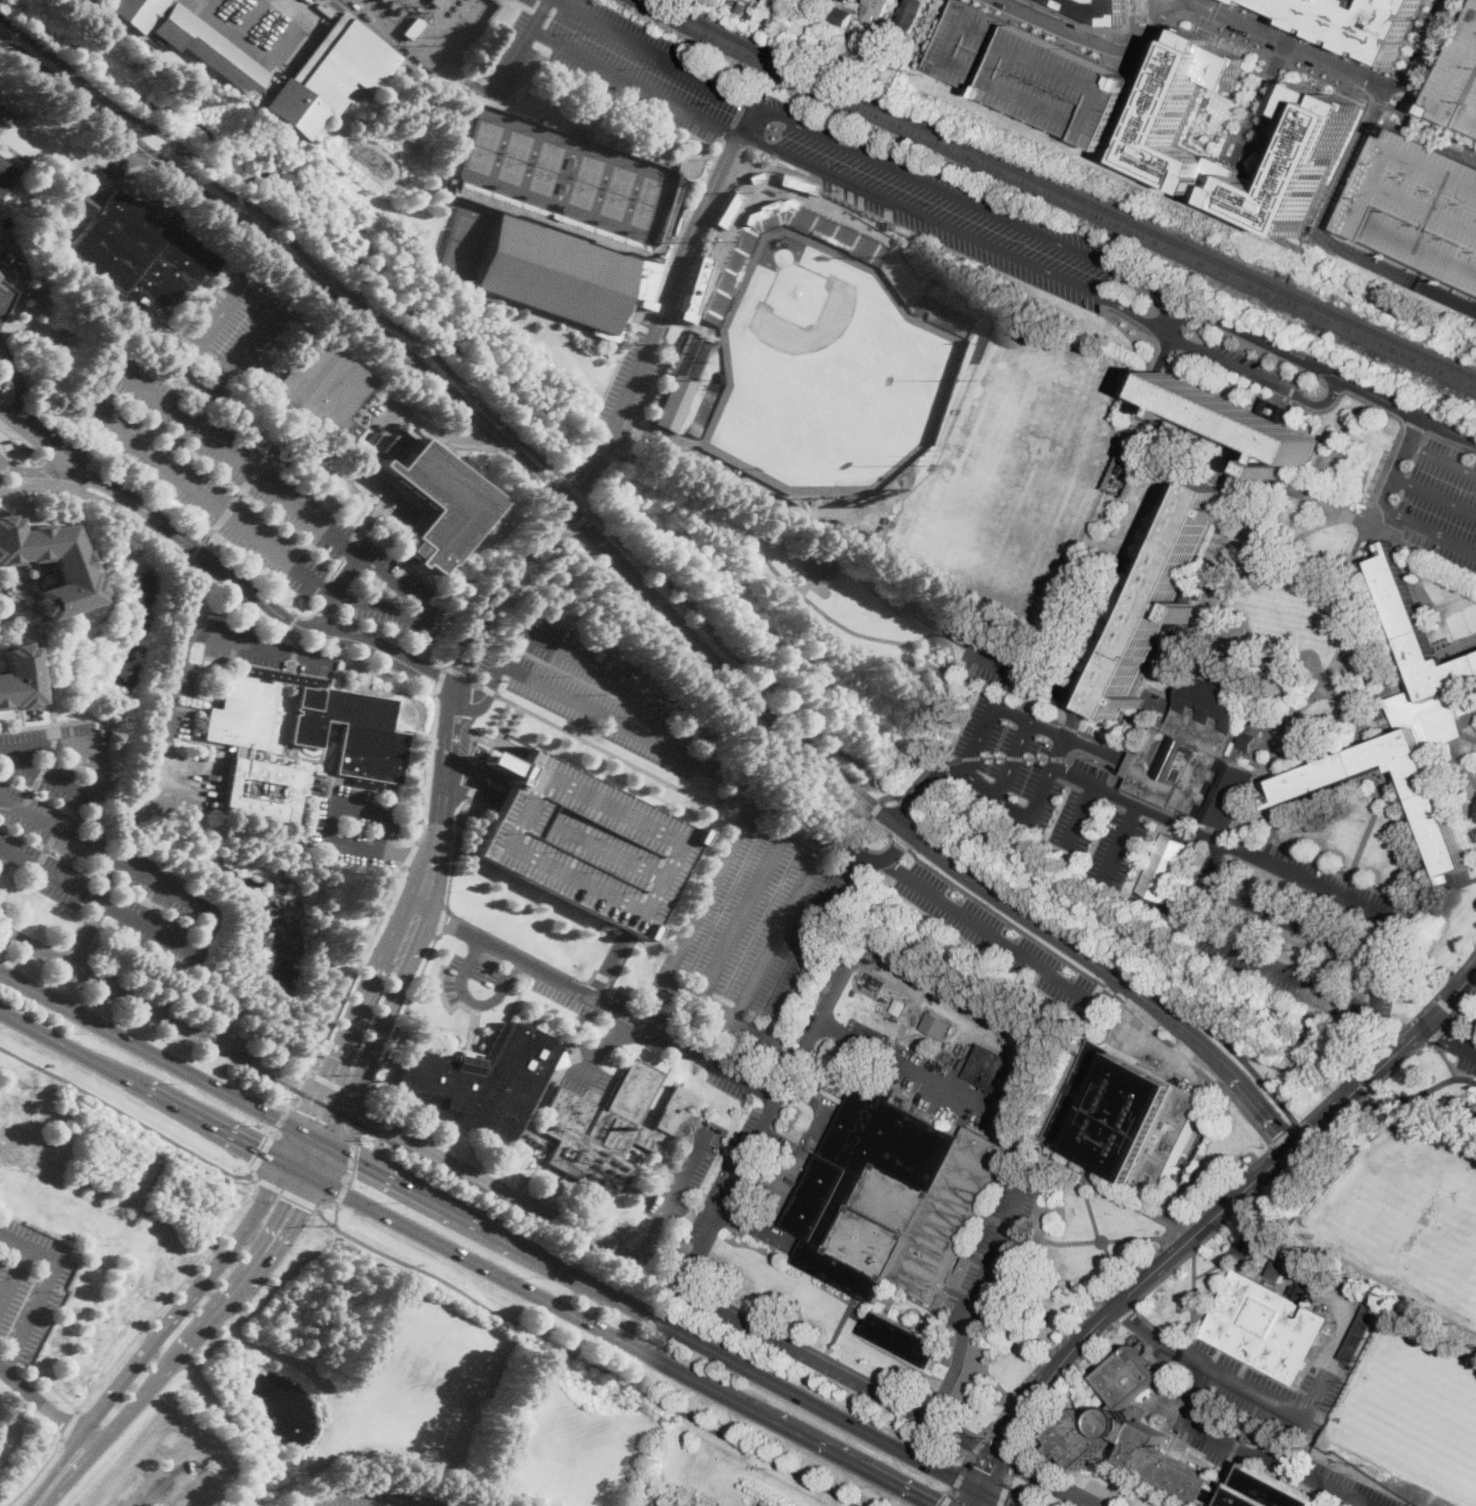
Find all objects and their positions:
building: (850, 0)
building: (824, 1)
building: (1253, 1)
building: (436, 2)
road: (83, 3)
building: (788, 4)
road: (1167, 7)
building: (742, 8)
building: (874, 9)
building: (1099, 9)
parking lot: (1099, 9)
building: (783, 14)
building: (843, 14)
building: (910, 14)
building: (1360, 22)
road: (1152, 23)
road: (1160, 24)
power substation: (426, 26)
parking lot: (265, 27)
road: (289, 31)
road: (399, 31)
road: (1074, 31)
road: (234, 32)
building: (876, 35)
building: (825, 39)
building: (191, 40)
building: (885, 43)
road: (1291, 43)
road: (1352, 52)
road: (658, 53)
building: (865, 55)
road: (513, 58)
road: (454, 69)
building: (1034, 73)
parking lot: (1034, 73)
building: (331, 75)
building: (1459, 83)
parking garage: (1459, 83)
road: (633, 84)
road: (1424, 88)
road: (1145, 98)
road: (1263, 98)
road: (1379, 102)
road: (3, 116)
parking lot: (5, 117)
road: (1433, 124)
building: (1165, 134)
road: (1433, 137)
parking lot: (799, 143)
park: (487, 147)
park: (518, 157)
park: (549, 168)
building: (5, 174)
building: (475, 175)
building: (756, 178)
park: (589, 182)
building: (798, 184)
park: (620, 192)
railway: (1068, 192)
railway: (1055, 196)
park: (650, 203)
building: (1421, 206)
parking garage: (1421, 206)
road: (1342, 209)
building: (727, 210)
building: (767, 210)
building: (553, 220)
road: (1054, 237)
road: (289, 239)
building: (832, 240)
park: (465, 241)
building: (135, 251)
building: (8, 263)
road: (287, 263)
road: (1395, 272)
building: (739, 274)
road: (1047, 274)
building: (567, 276)
building: (6, 289)
road: (325, 289)
building: (692, 290)
road: (4, 298)
parking lot: (5, 300)
road: (663, 304)
road: (218, 315)
road: (1172, 319)
parking lot: (231, 324)
road: (261, 324)
parking lot: (1253, 336)
parking lot: (1250, 368)
park: (825, 372)
road: (1151, 377)
building: (721, 378)
road: (18, 380)
building: (581, 380)
building: (318, 388)
road: (9, 389)
parking lot: (629, 389)
parking lot: (1, 391)
road: (1357, 397)
road: (1387, 401)
building: (672, 403)
building: (1267, 409)
road: (188, 418)
road: (428, 419)
building: (1234, 420)
road: (1414, 425)
road: (1455, 433)
parking lot: (15, 434)
road: (443, 441)
road: (1450, 441)
building: (77, 449)
road: (232, 459)
building: (90, 460)
building: (1243, 460)
building: (625, 461)
road: (1441, 461)
park: (1014, 467)
road: (32, 469)
road: (70, 469)
building: (1122, 476)
road: (548, 478)
road: (60, 484)
road: (2, 488)
road: (578, 489)
road: (1260, 491)
road: (547, 496)
road: (1435, 496)
road: (202, 498)
parking lot: (247, 499)
road: (232, 502)
parking lot: (1441, 504)
road: (107, 505)
building: (440, 505)
road: (1387, 509)
road: (1299, 512)
road: (559, 516)
road: (584, 520)
road: (1358, 522)
building: (839, 528)
building: (862, 529)
road: (1411, 535)
road: (1423, 541)
road: (1279, 548)
road: (1419, 550)
road: (218, 567)
building: (820, 567)
building: (68, 569)
road: (28, 579)
road: (96, 582)
road: (494, 587)
building: (1139, 590)
building: (1190, 590)
road: (331, 591)
road: (111, 601)
building: (1160, 601)
road: (1351, 602)
road: (8, 604)
road: (246, 605)
road: (324, 613)
park: (797, 614)
road: (414, 615)
road: (306, 616)
road: (292, 621)
park: (1462, 623)
building: (1174, 628)
road: (1214, 634)
road: (388, 636)
road: (47, 644)
road: (1459, 644)
road: (260, 646)
road: (1241, 654)
road: (585, 659)
road: (737, 660)
building: (906, 666)
road: (1009, 669)
parking lot: (1012, 670)
road: (457, 671)
road: (178, 675)
building: (17, 678)
road: (1412, 678)
road: (440, 679)
road: (475, 682)
building: (927, 682)
parking lot: (182, 684)
road: (1251, 686)
road: (1408, 688)
road: (488, 689)
parking lot: (597, 691)
road: (1072, 709)
road: (1251, 712)
road: (1472, 716)
road: (1461, 719)
road: (1274, 721)
road: (57, 722)
road: (53, 723)
road: (1037, 724)
road: (1268, 725)
building: (1405, 726)
road: (1260, 727)
road: (1388, 728)
road: (1284, 731)
building: (352, 733)
road: (1252, 733)
road: (482, 737)
road: (1470, 737)
road: (495, 741)
road: (783, 741)
building: (1250, 741)
road: (1250, 741)
road: (1270, 741)
road: (1455, 742)
road: (1333, 747)
building: (242, 749)
road: (1092, 749)
road: (1267, 749)
road: (1258, 754)
building: (1197, 756)
road: (1014, 758)
road: (1069, 758)
road: (1255, 761)
road: (710, 766)
road: (1463, 766)
road: (426, 769)
road: (49, 775)
road: (837, 776)
road: (92, 777)
road: (473, 787)
road: (924, 788)
road: (471, 790)
road: (694, 794)
road: (996, 795)
road: (442, 799)
road: (909, 807)
road: (363, 809)
road: (876, 809)
building: (854, 811)
road: (1246, 814)
road: (1081, 816)
road: (51, 826)
road: (1368, 827)
parking lot: (355, 828)
road: (455, 838)
building: (584, 839)
parking garage: (584, 839)
road: (1119, 841)
parking lot: (90, 845)
road: (1272, 851)
road: (410, 853)
road: (1166, 865)
parking lot: (1196, 870)
road: (1347, 873)
road: (50, 875)
road: (668, 905)
road: (745, 910)
road: (441, 921)
road: (1292, 922)
parking lot: (761, 923)
road: (210, 925)
road: (780, 929)
road: (87, 933)
road: (468, 933)
road: (1074, 934)
building: (883, 941)
road: (1005, 944)
parking lot: (1007, 944)
road: (521, 949)
road: (608, 962)
road: (1288, 970)
road: (354, 973)
building: (913, 973)
road: (601, 975)
parking lot: (494, 978)
building: (870, 984)
building: (855, 993)
parking lot: (564, 996)
road: (364, 997)
road: (473, 1001)
road: (939, 1001)
road: (1465, 1001)
building: (898, 1006)
road: (1446, 1006)
road: (160, 1010)
road: (714, 1010)
road: (1109, 1011)
road: (401, 1016)
building: (937, 1024)
building: (1020, 1025)
road: (648, 1027)
road: (380, 1028)
road: (1464, 1028)
road: (1442, 1029)
building: (1027, 1034)
road: (1451, 1038)
road: (1390, 1042)
road: (604, 1043)
road: (151, 1052)
road: (1445, 1057)
parking lot: (1468, 1059)
road: (1195, 1061)
road: (1386, 1061)
road: (1400, 1066)
road: (911, 1067)
road: (1227, 1071)
road: (312, 1072)
road: (1294, 1072)
building: (1001, 1074)
road: (304, 1075)
building: (485, 1078)
road: (1464, 1078)
road: (1362, 1081)
road: (327, 1082)
parking lot: (585, 1082)
road: (300, 1085)
road: (142, 1086)
road: (1267, 1087)
road: (343, 1089)
road: (1371, 1091)
road: (352, 1093)
road: (1058, 1094)
road: (1412, 1094)
road: (364, 1097)
road: (292, 1100)
road: (366, 1103)
road: (368, 1111)
road: (770, 1111)
road: (1246, 1112)
road: (311, 1113)
traffic signals: (311, 1115)
road: (127, 1117)
road: (283, 1117)
building: (1123, 1117)
road: (1342, 1118)
road: (363, 1119)
building: (614, 1129)
road: (274, 1132)
road: (997, 1132)
road: (358, 1133)
road: (1304, 1134)
road: (1283, 1136)
road: (316, 1139)
road: (293, 1147)
traffic signals: (258, 1149)
road: (262, 1152)
road: (353, 1157)
road: (320, 1162)
traffic signals: (358, 1162)
road: (298, 1170)
road: (253, 1173)
road: (348, 1180)
road: (499, 1181)
road: (678, 1188)
road: (1103, 1189)
road: (288, 1194)
road: (341, 1195)
building: (891, 1196)
traffic signals: (295, 1204)
road: (328, 1206)
park: (1407, 1212)
road: (337, 1217)
road: (1222, 1224)
road: (757, 1225)
building: (1251, 1244)
road: (643, 1254)
road: (641, 1256)
road: (1171, 1256)
road: (6, 1260)
road: (18, 1266)
road: (664, 1266)
building: (1280, 1266)
road: (1215, 1267)
road: (687, 1274)
road: (36, 1275)
road: (13, 1278)
road: (686, 1280)
road: (1119, 1284)
road: (44, 1290)
parking lot: (27, 1294)
road: (169, 1296)
road: (972, 1298)
road: (187, 1302)
road: (718, 1308)
road: (1126, 1314)
road: (209, 1318)
road: (654, 1319)
building: (1266, 1325)
road: (1193, 1327)
building: (1359, 1334)
building: (905, 1339)
road: (626, 1343)
road: (811, 1345)
road: (586, 1359)
road: (47, 1380)
road: (1229, 1380)
road: (1060, 1381)
parking lot: (1271, 1389)
road: (43, 1405)
park: (1419, 1408)
road: (936, 1410)
building: (1102, 1413)
road: (174, 1418)
road: (71, 1425)
road: (966, 1426)
road: (1012, 1427)
parking lot: (1210, 1436)
building: (1253, 1438)
road: (978, 1444)
road: (1000, 1444)
road: (1254, 1453)
road: (971, 1458)
road: (1012, 1462)
parking lot: (168, 1465)
building: (1165, 1468)
road: (169, 1472)
traffic signals: (987, 1472)
road: (38, 1473)
road: (62, 1473)
parking lot: (1322, 1476)
road: (1009, 1478)
road: (1065, 1479)
road: (956, 1484)
building: (1258, 1491)
building: (658, 1493)
road: (1003, 1494)
road: (975, 1498)
parking lot: (386, 1499)
road: (993, 1499)
traffic signals: (938, 1503)
parking lot: (1165, 1504)
building: (665, 1505)
traffic signals: (1007, 1505)

